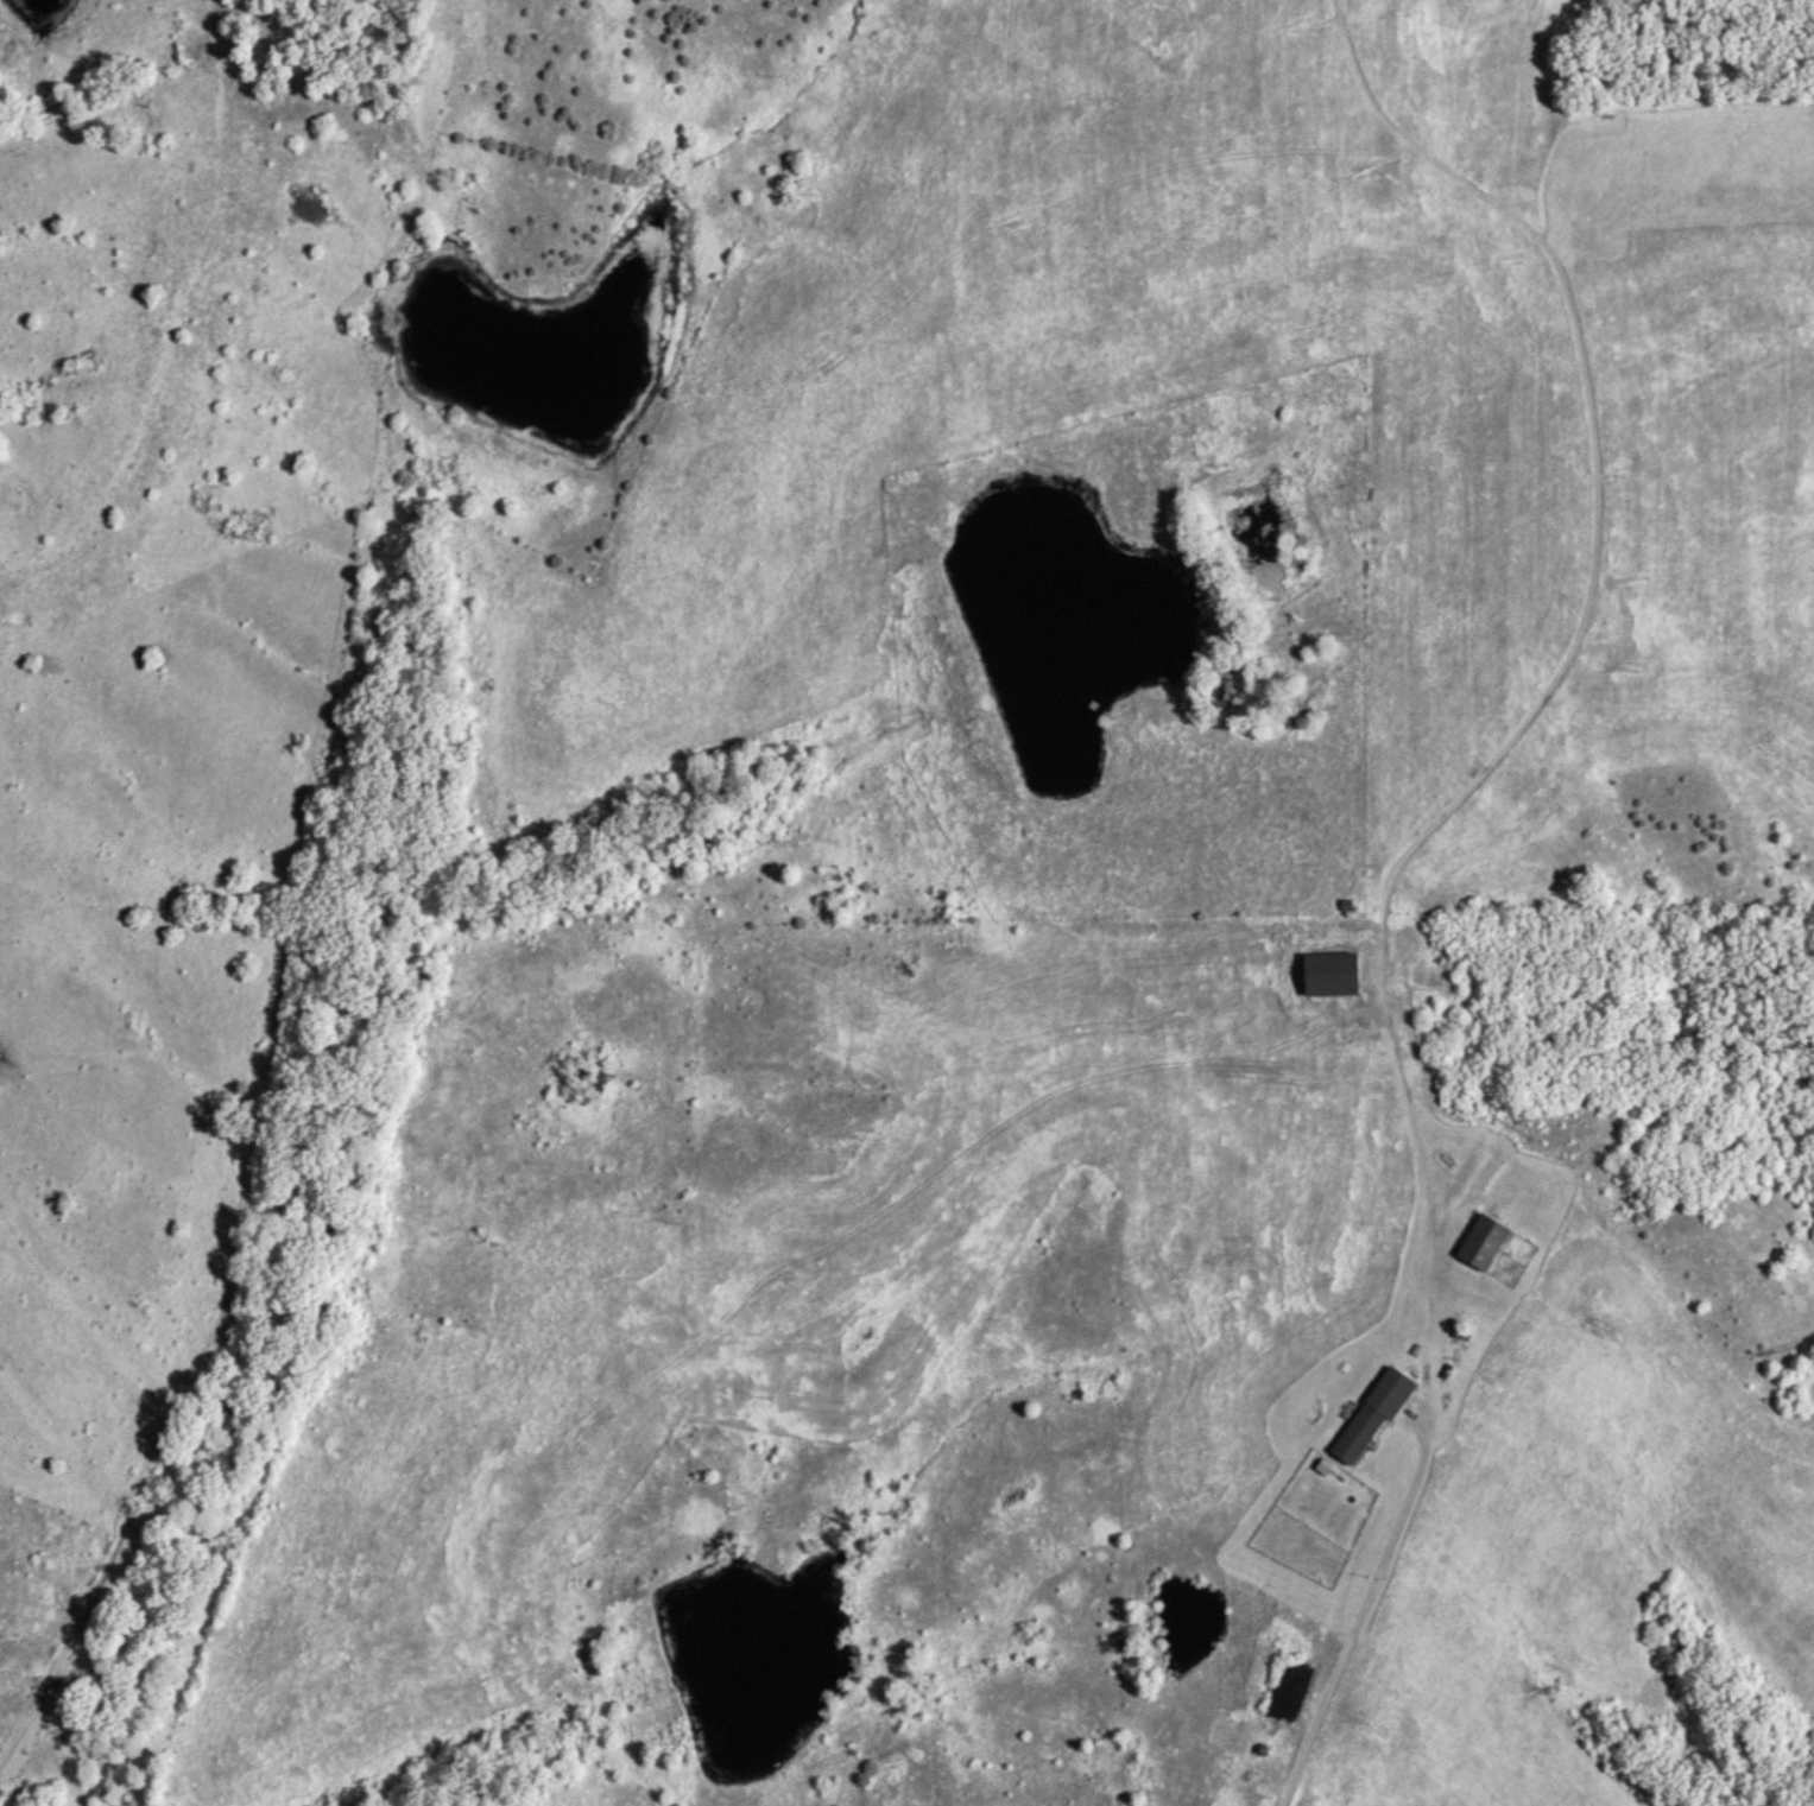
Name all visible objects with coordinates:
building: (1481, 1242)
building: (1372, 1413)
road: (1361, 1607)

